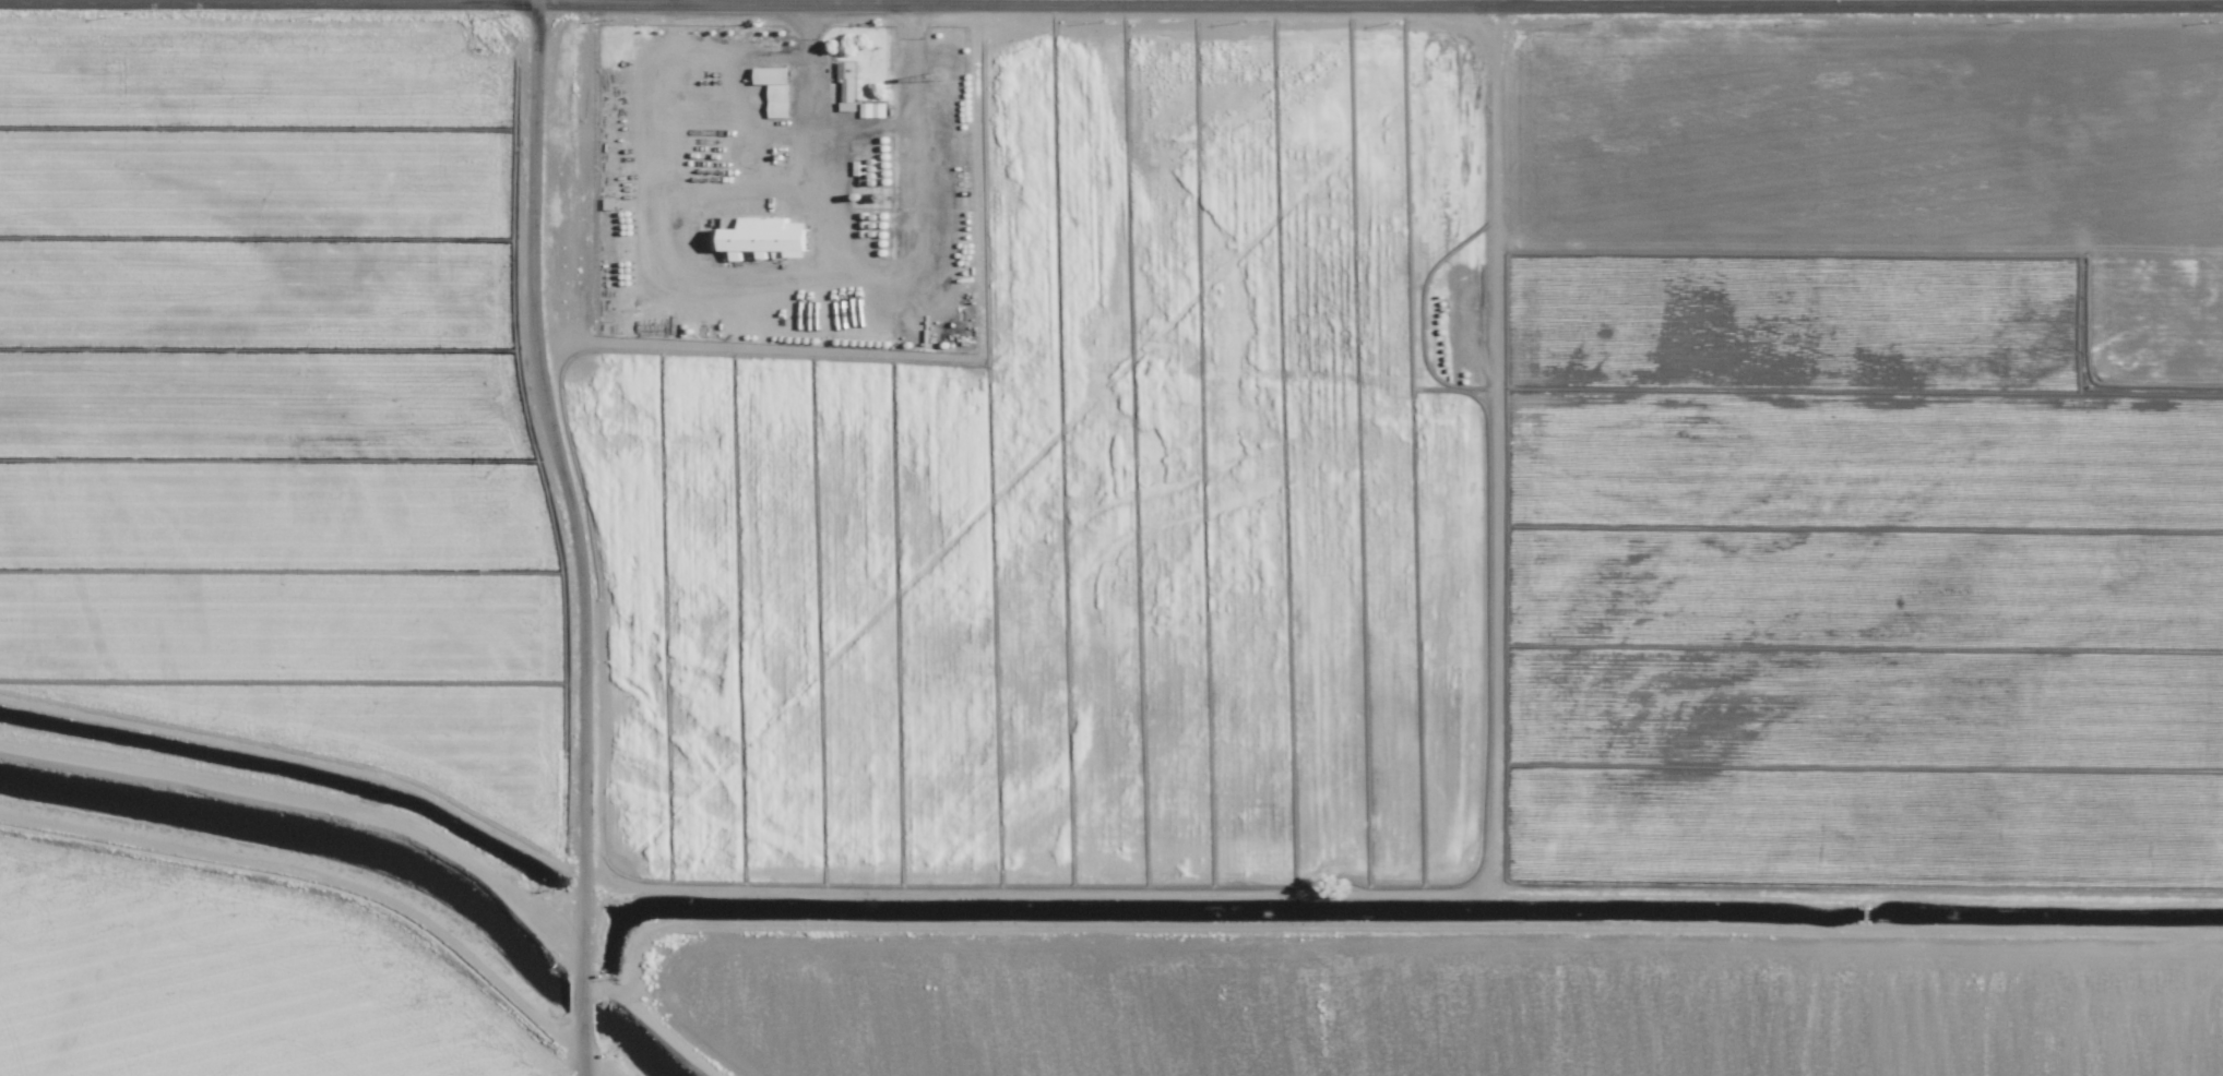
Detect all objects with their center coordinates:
road: (1494, 3)
road: (1110, 4)
building: (870, 109)
building: (762, 237)
road: (580, 536)
road: (302, 788)
road: (320, 871)

